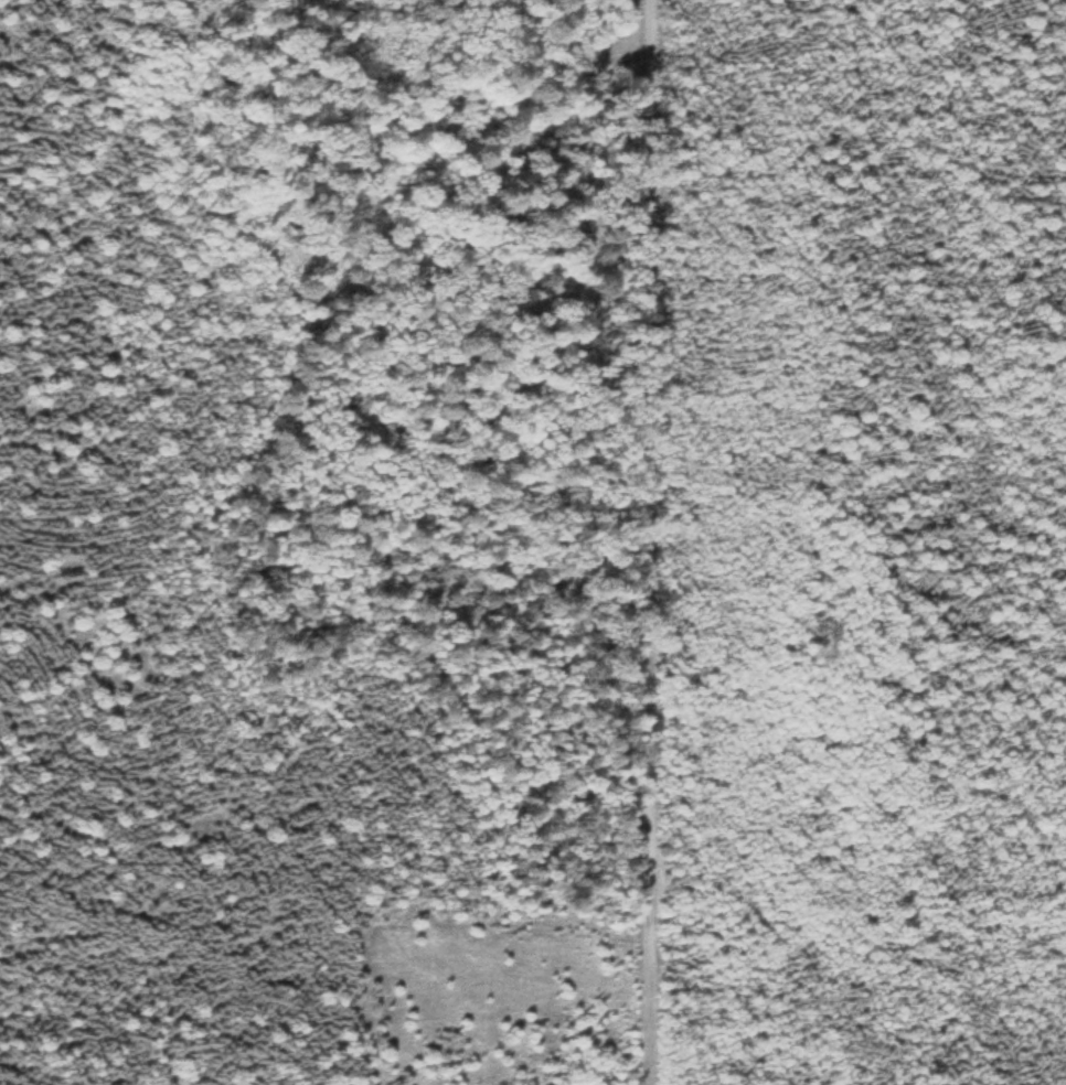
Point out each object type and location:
road: (655, 542)

